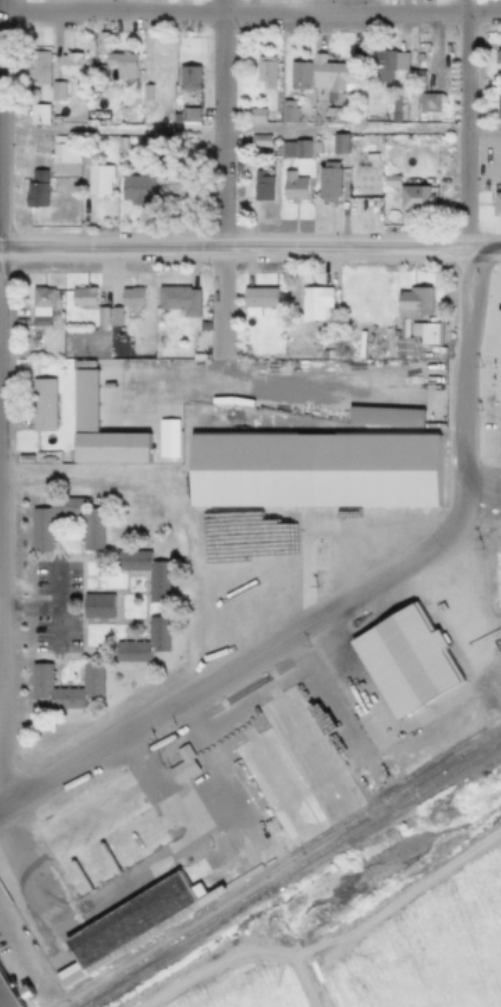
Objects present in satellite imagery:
road: (250, 16)
building: (496, 59)
building: (119, 65)
building: (386, 65)
building: (64, 66)
building: (34, 67)
building: (156, 68)
building: (262, 73)
building: (328, 74)
building: (98, 75)
building: (296, 75)
building: (186, 78)
building: (54, 91)
building: (143, 93)
building: (425, 103)
building: (497, 103)
building: (394, 110)
building: (284, 112)
building: (329, 112)
building: (34, 115)
building: (253, 115)
building: (187, 116)
road: (463, 123)
road: (250, 128)
building: (189, 139)
building: (257, 141)
building: (436, 141)
building: (336, 144)
building: (61, 150)
building: (290, 150)
road: (219, 177)
building: (96, 179)
building: (175, 182)
building: (325, 182)
building: (387, 182)
building: (259, 186)
building: (291, 188)
building: (33, 189)
building: (129, 190)
building: (412, 198)
building: (495, 205)
road: (231, 247)
road: (481, 247)
building: (80, 298)
building: (129, 298)
building: (175, 300)
building: (254, 300)
building: (312, 304)
building: (38, 306)
building: (406, 315)
building: (112, 317)
building: (98, 318)
building: (201, 327)
building: (422, 333)
road: (461, 390)
building: (81, 402)
building: (40, 405)
building: (381, 418)
building: (165, 438)
building: (309, 470)
road: (477, 482)
road: (483, 494)
road: (478, 503)
building: (89, 530)
road: (249, 562)
road: (287, 572)
road: (474, 575)
building: (155, 586)
building: (94, 606)
parking lot: (53, 607)
road: (51, 610)
road: (55, 634)
building: (142, 643)
building: (401, 662)
road: (211, 667)
road: (224, 670)
building: (36, 678)
road: (383, 731)
building: (428, 739)
building: (313, 742)
parking lot: (197, 744)
railway: (470, 750)
building: (179, 766)
road: (215, 766)
building: (369, 781)
building: (273, 791)
road: (169, 808)
building: (83, 815)
building: (108, 852)
railway: (272, 869)
railway: (284, 875)
building: (124, 883)
building: (194, 889)
building: (125, 922)
railway: (162, 960)
road: (20, 967)
road: (244, 969)
building: (62, 979)
building: (18, 994)
building: (4, 999)

